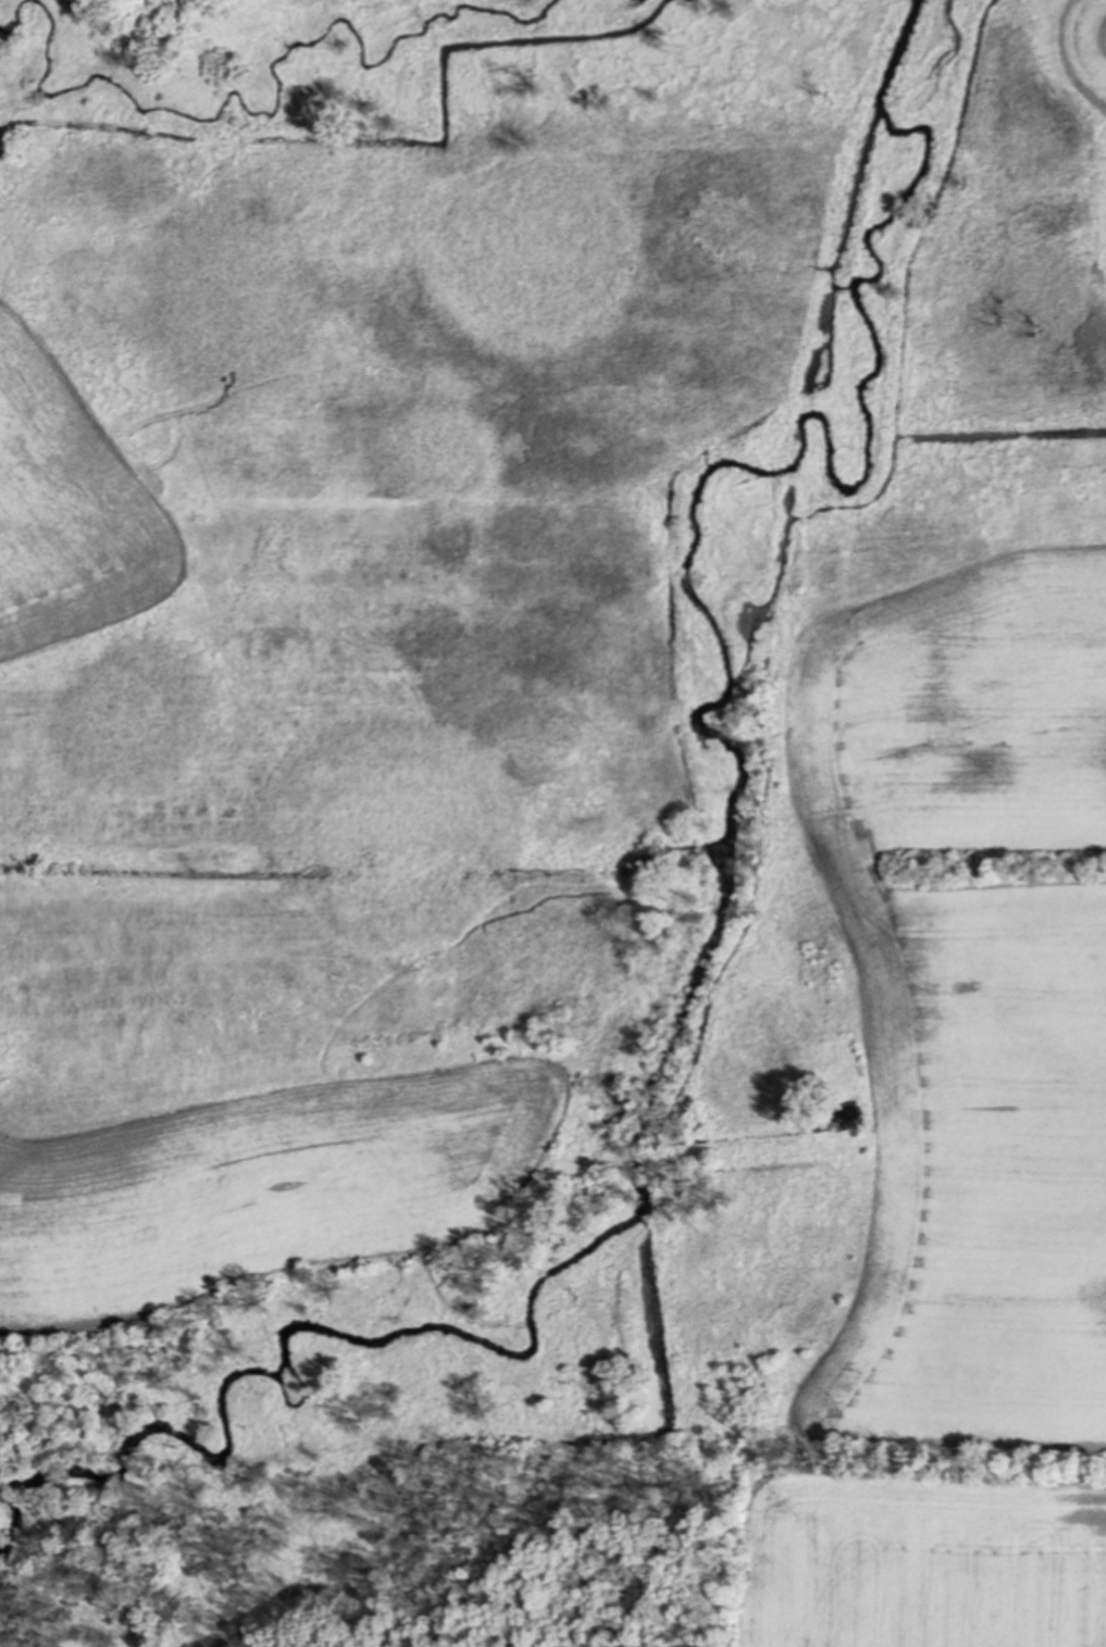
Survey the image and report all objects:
crop: (1084, 46)
crop: (69, 507)
crop: (962, 1115)
crop: (265, 1189)

